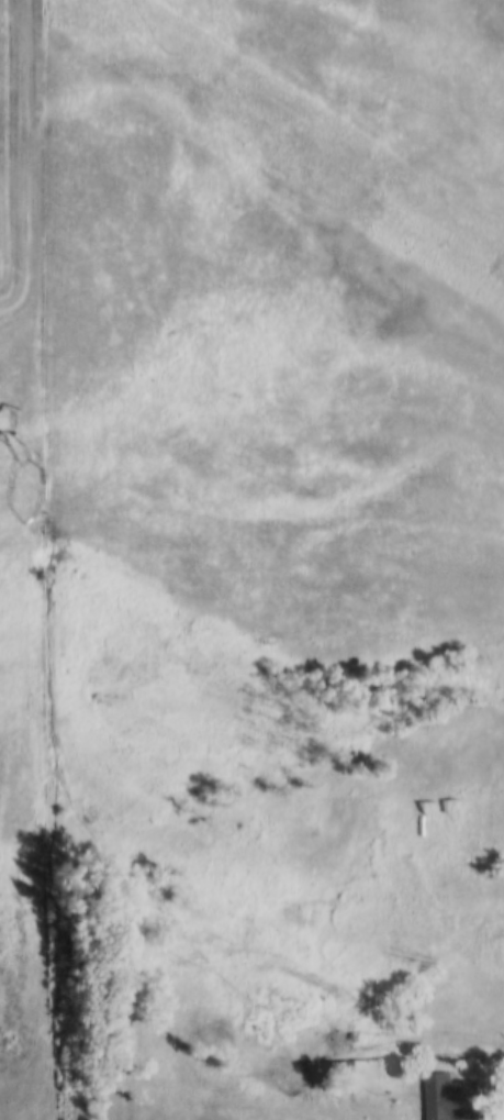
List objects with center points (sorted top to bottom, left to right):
building: (254, 1025)
building: (337, 1065)
building: (446, 1098)

